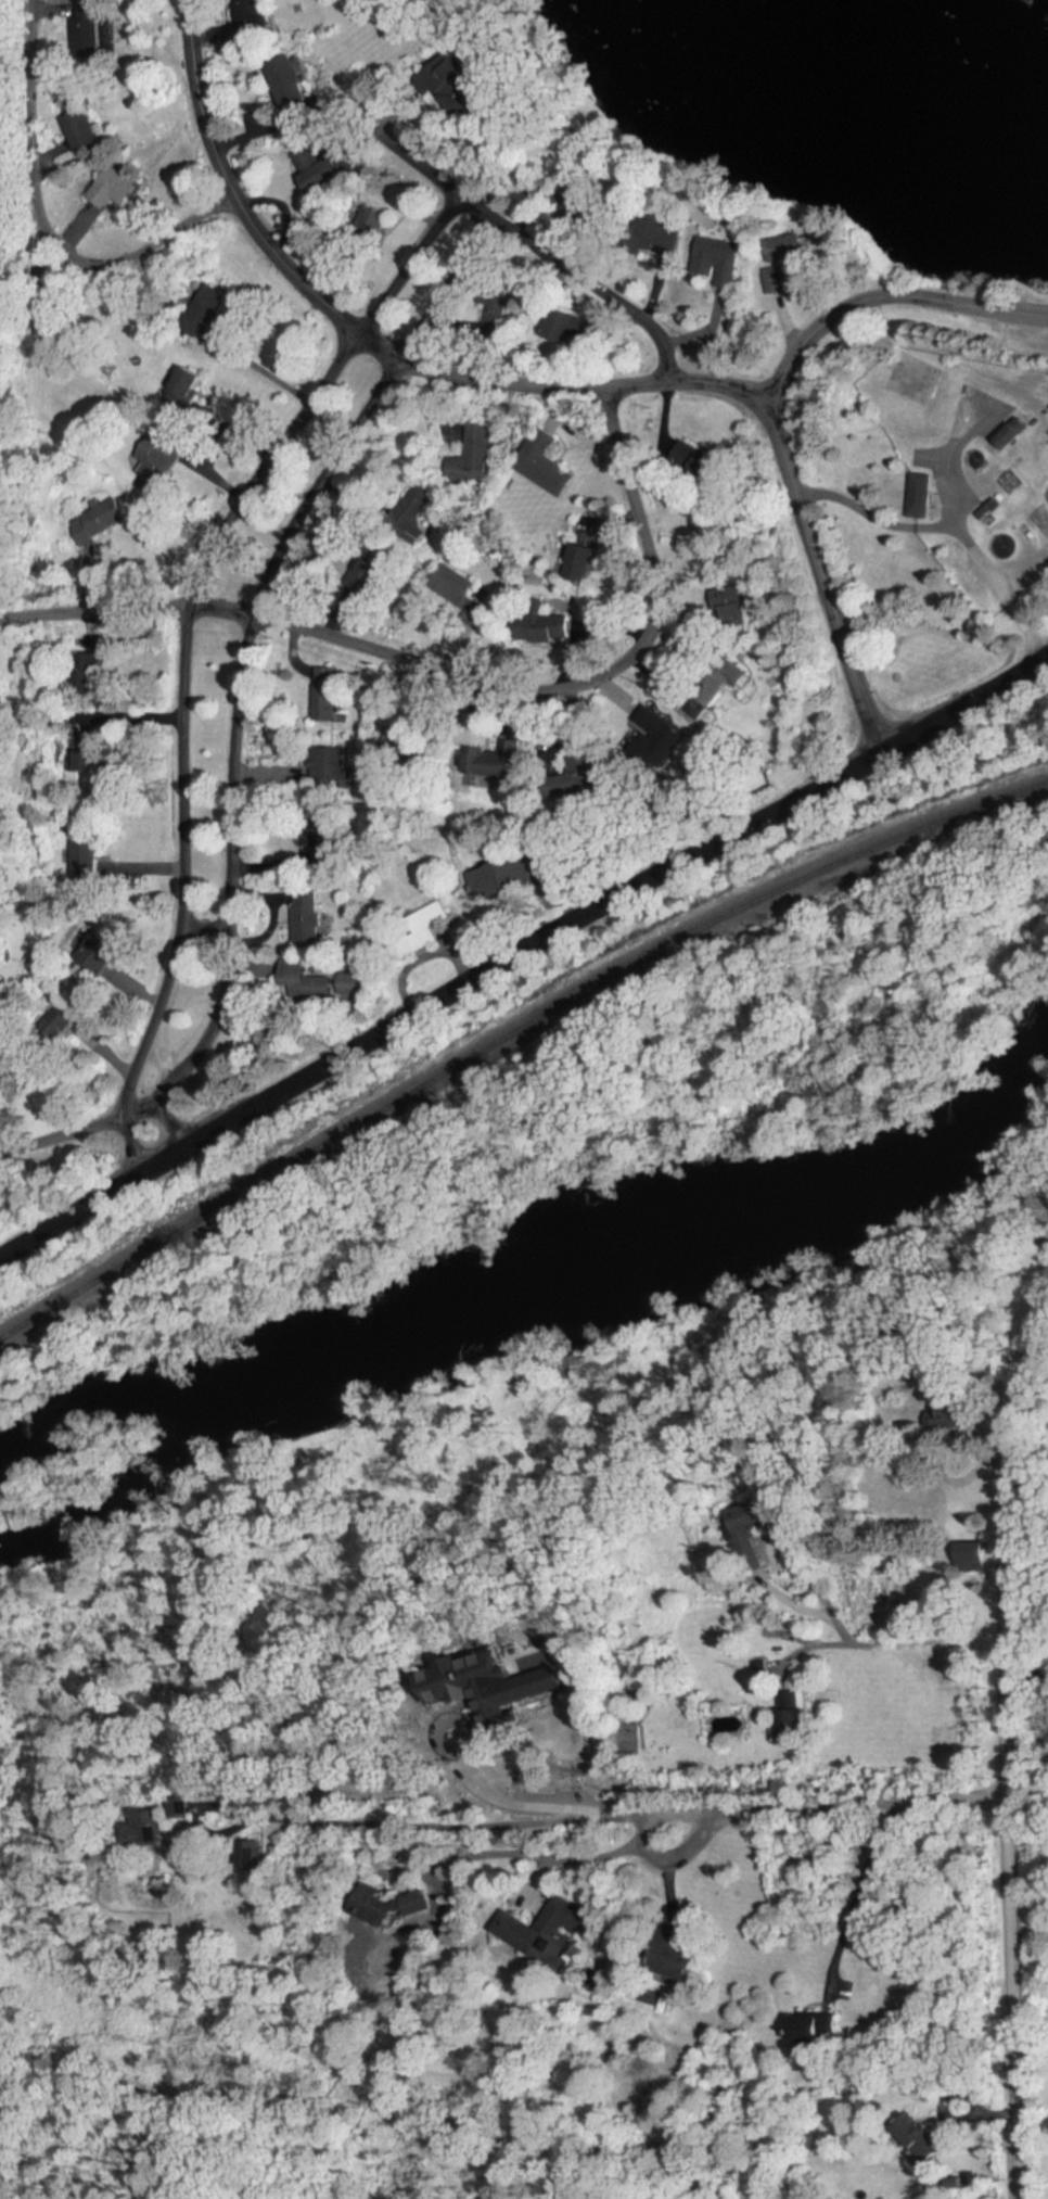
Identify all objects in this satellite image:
building: (251, 17)
building: (289, 82)
building: (317, 169)
road: (41, 227)
road: (542, 244)
building: (787, 246)
building: (721, 258)
building: (774, 279)
road: (883, 295)
road: (256, 370)
road: (552, 383)
building: (184, 386)
building: (1010, 432)
building: (470, 456)
building: (156, 459)
road: (944, 460)
building: (544, 462)
building: (918, 494)
building: (413, 510)
building: (98, 520)
road: (950, 531)
building: (581, 561)
building: (379, 562)
road: (187, 644)
road: (244, 657)
road: (458, 673)
building: (325, 692)
building: (663, 737)
building: (407, 739)
building: (496, 761)
building: (329, 767)
building: (585, 773)
building: (325, 838)
building: (488, 880)
road: (611, 897)
building: (305, 914)
road: (204, 918)
building: (414, 932)
building: (94, 949)
building: (304, 980)
building: (348, 983)
railway: (510, 1033)
park: (675, 1062)
building: (3, 1075)
road: (144, 1105)
road: (64, 1134)
road: (90, 1202)
river: (537, 1292)
building: (948, 1413)
building: (746, 1523)
building: (973, 1556)
road: (819, 1592)
road: (898, 1644)
building: (792, 1724)
road: (1008, 1763)
road: (1027, 1791)
road: (838, 1803)
road: (586, 1805)
building: (179, 1807)
building: (152, 1826)
road: (478, 1829)
road: (542, 1850)
building: (250, 1854)
road: (859, 1883)
building: (382, 1904)
building: (546, 1930)
building: (814, 2028)
road: (950, 2113)
road: (1045, 2123)
road: (1031, 2127)
road: (1045, 2128)

